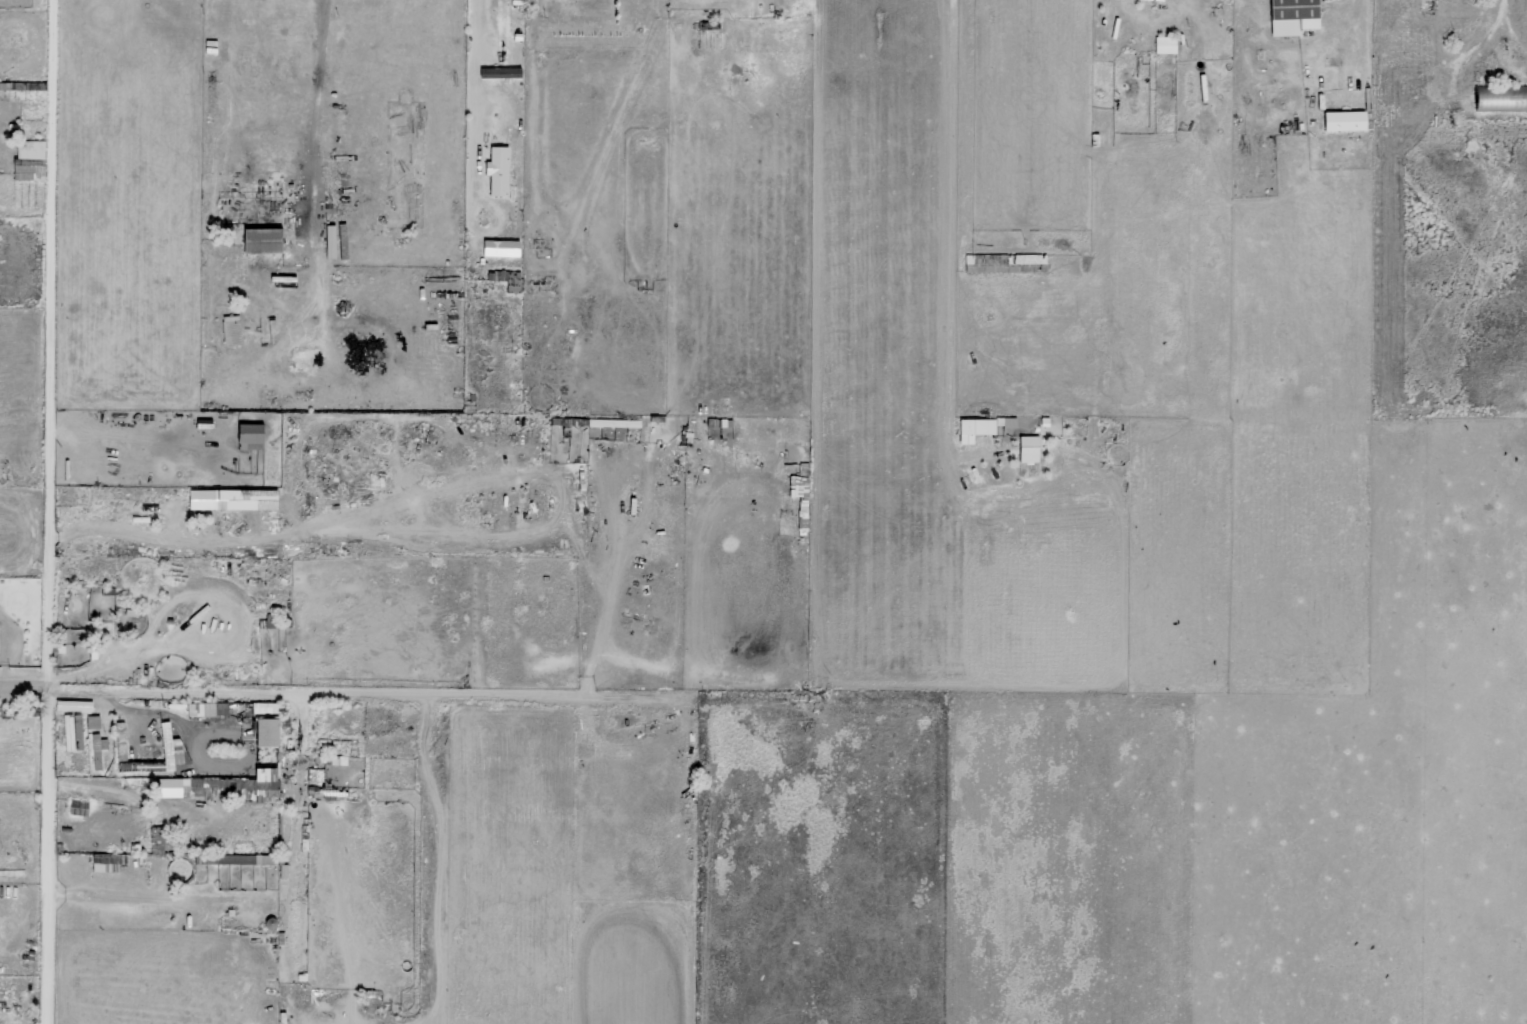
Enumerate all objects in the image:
building: (1290, 16)
building: (1164, 44)
building: (499, 72)
building: (1342, 120)
building: (29, 149)
building: (496, 170)
building: (259, 240)
building: (499, 247)
building: (507, 279)
building: (230, 330)
building: (566, 421)
building: (1004, 421)
building: (202, 423)
building: (613, 423)
building: (973, 429)
building: (247, 436)
building: (1027, 449)
building: (199, 499)
road: (48, 512)
road: (333, 695)
building: (206, 709)
building: (92, 721)
building: (72, 732)
building: (262, 732)
building: (170, 747)
building: (230, 782)
building: (104, 862)

